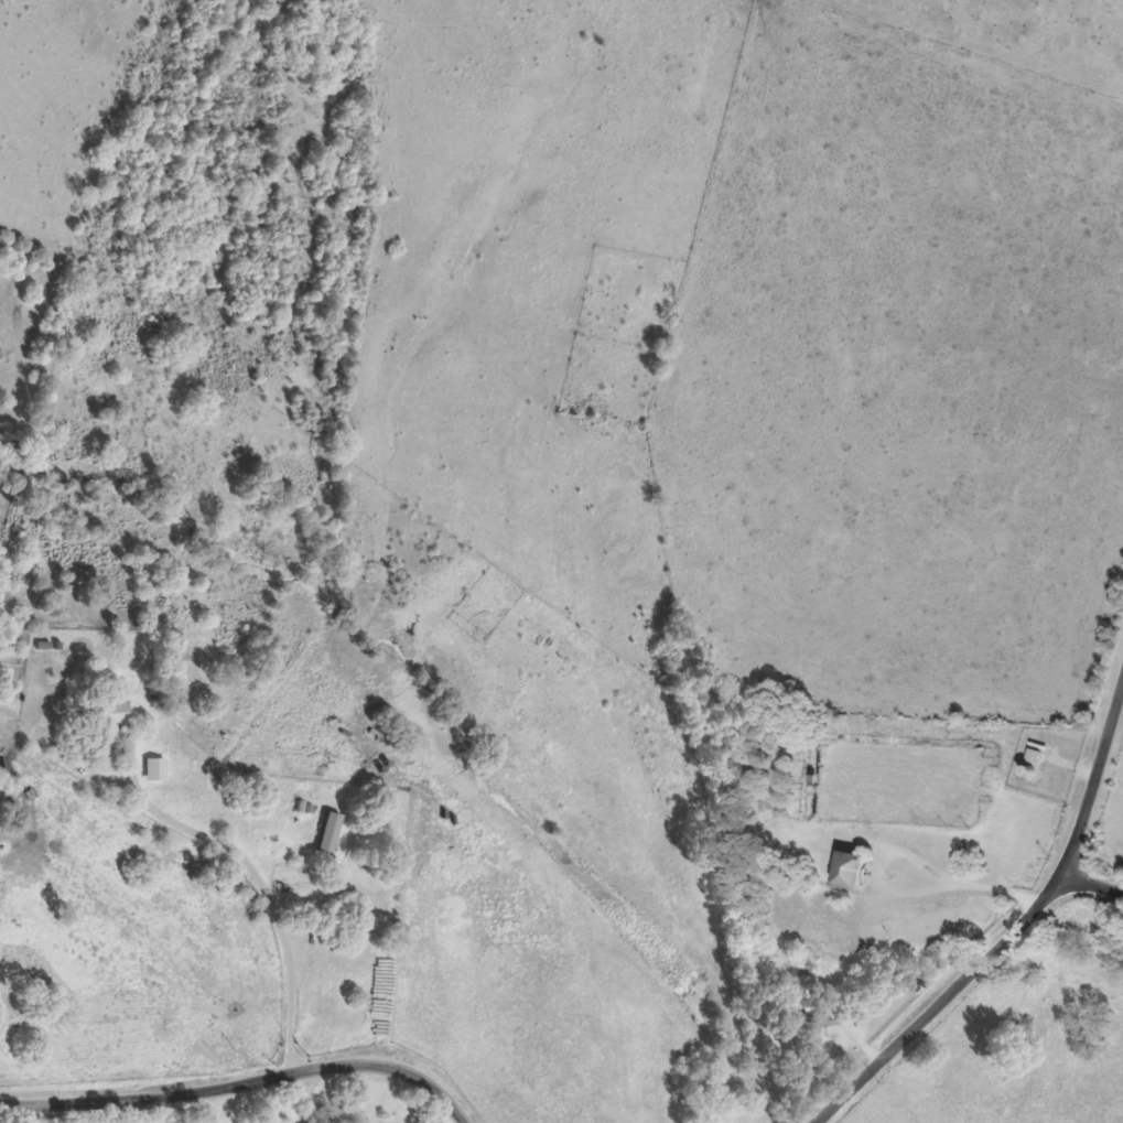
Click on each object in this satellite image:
building: (118, 713)
building: (154, 768)
building: (331, 832)
building: (842, 870)
road: (257, 881)
road: (1091, 887)
road: (1015, 929)
building: (817, 1021)
road: (239, 1086)

